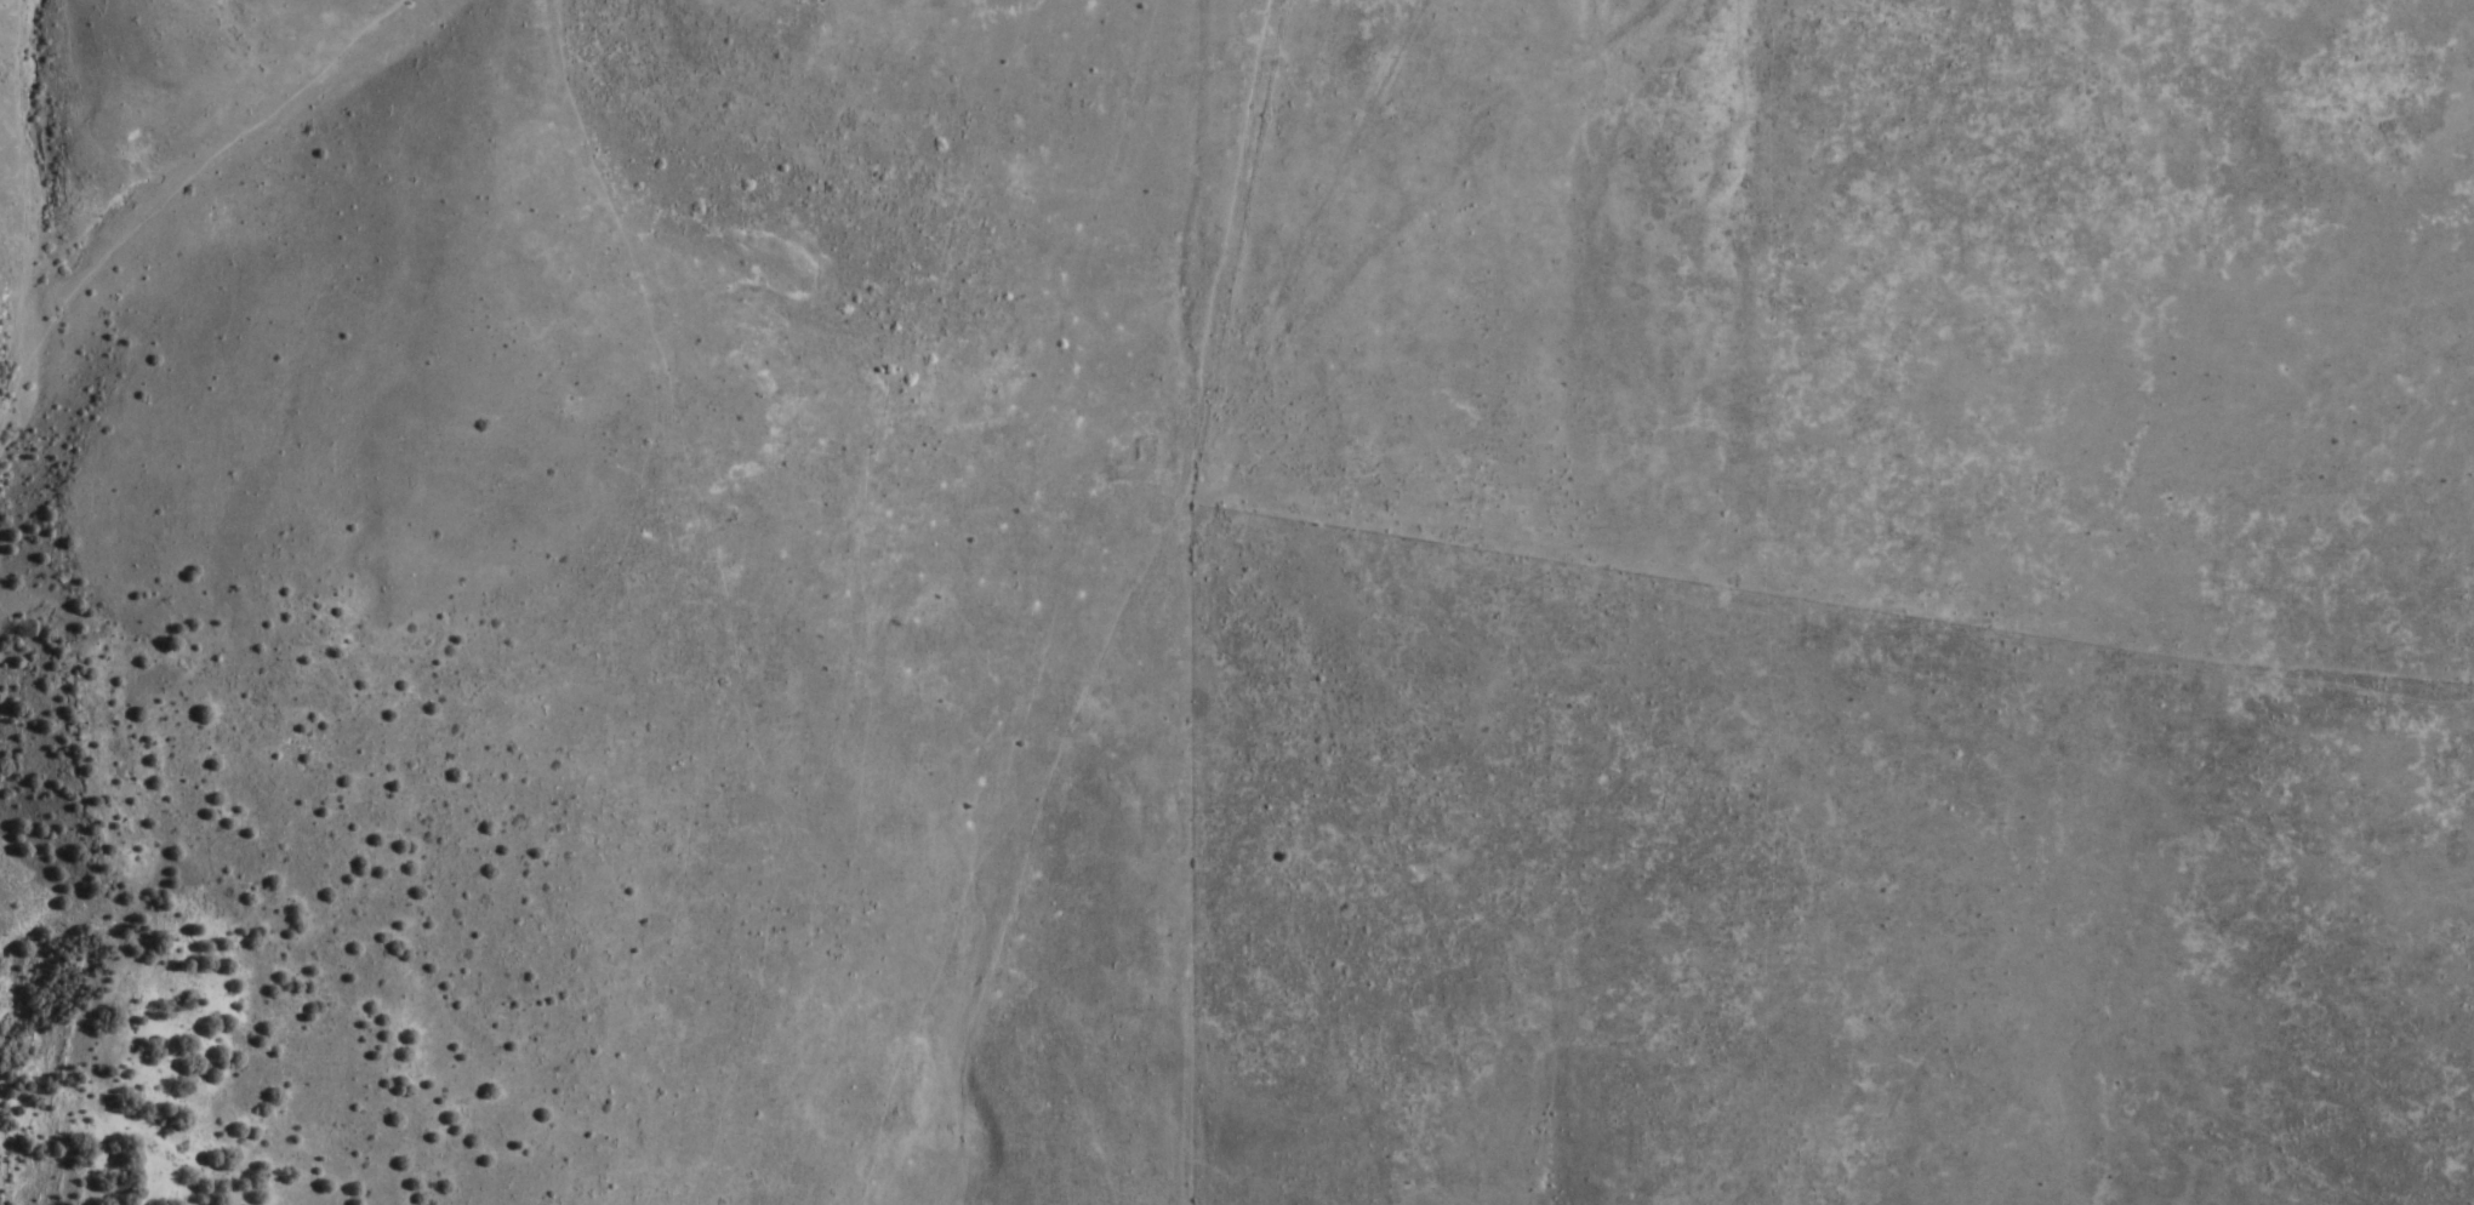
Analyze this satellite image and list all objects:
road: (2325, 126)

